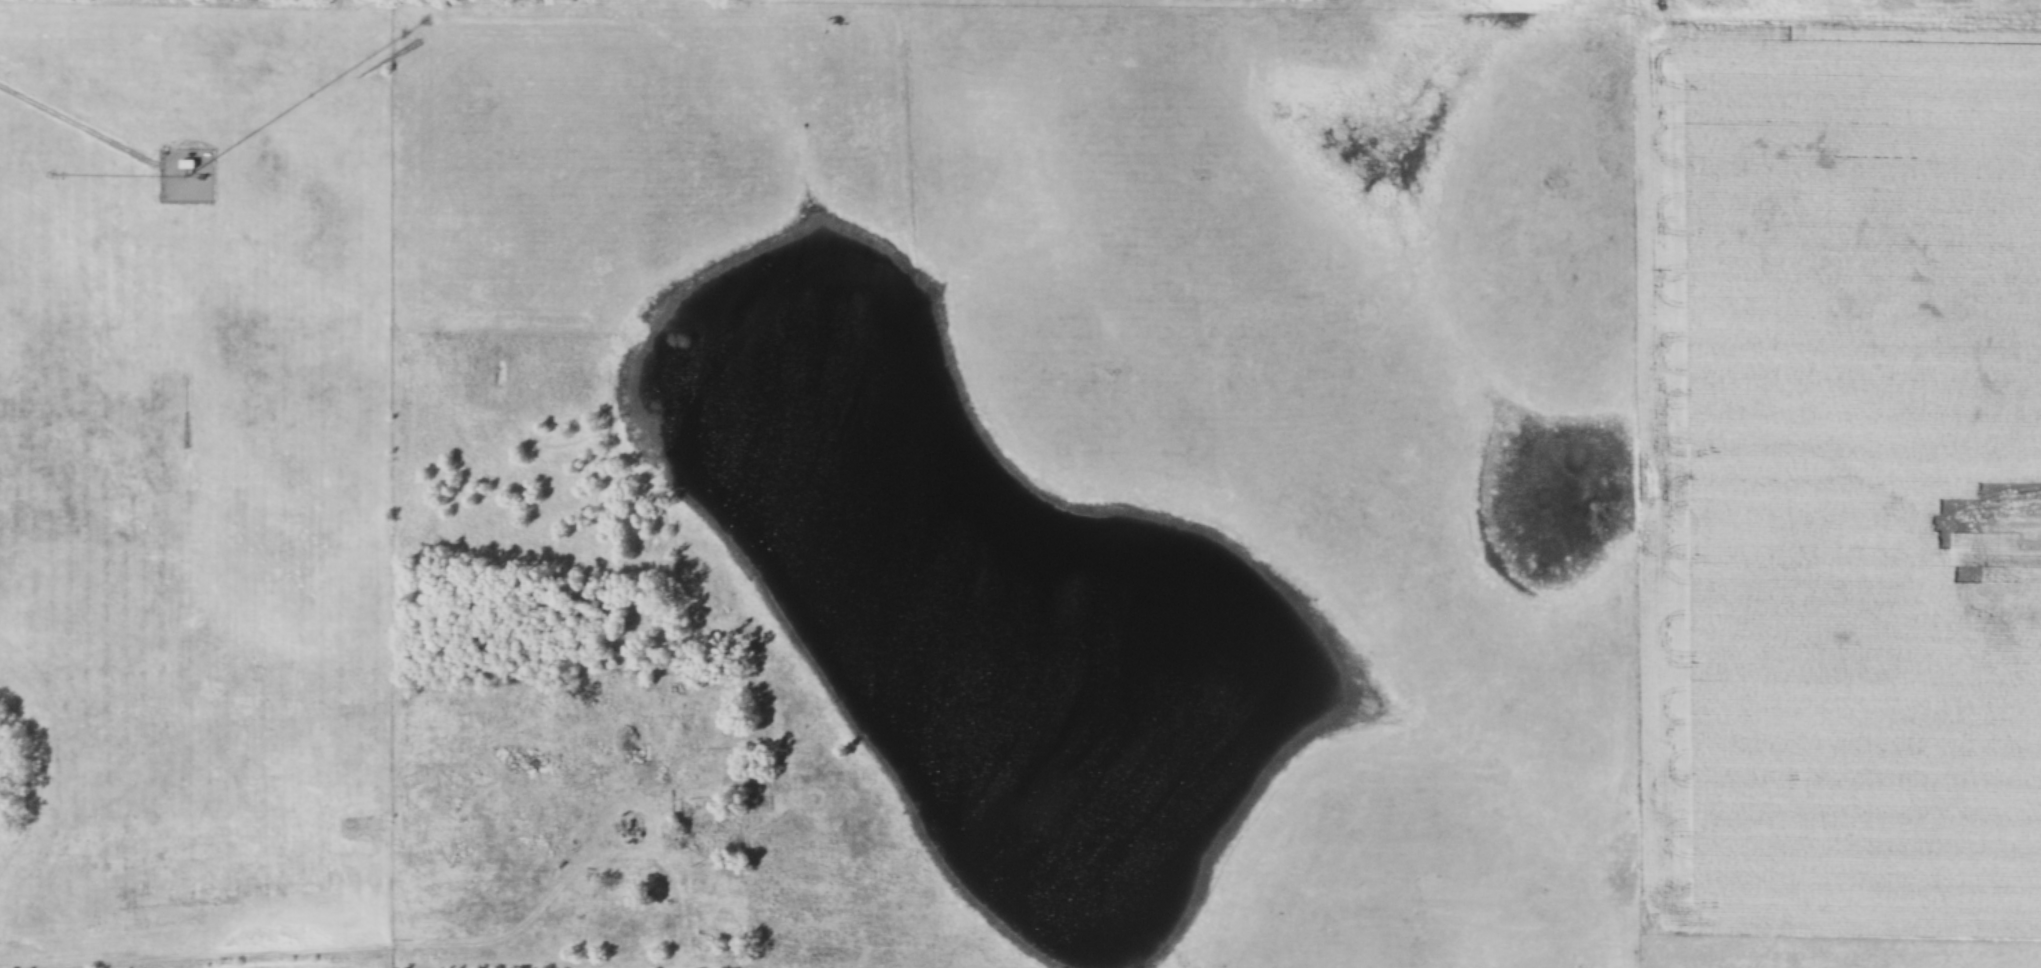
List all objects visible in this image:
building: (656, 777)
building: (535, 831)
building: (633, 882)
building: (800, 928)
road: (343, 951)

